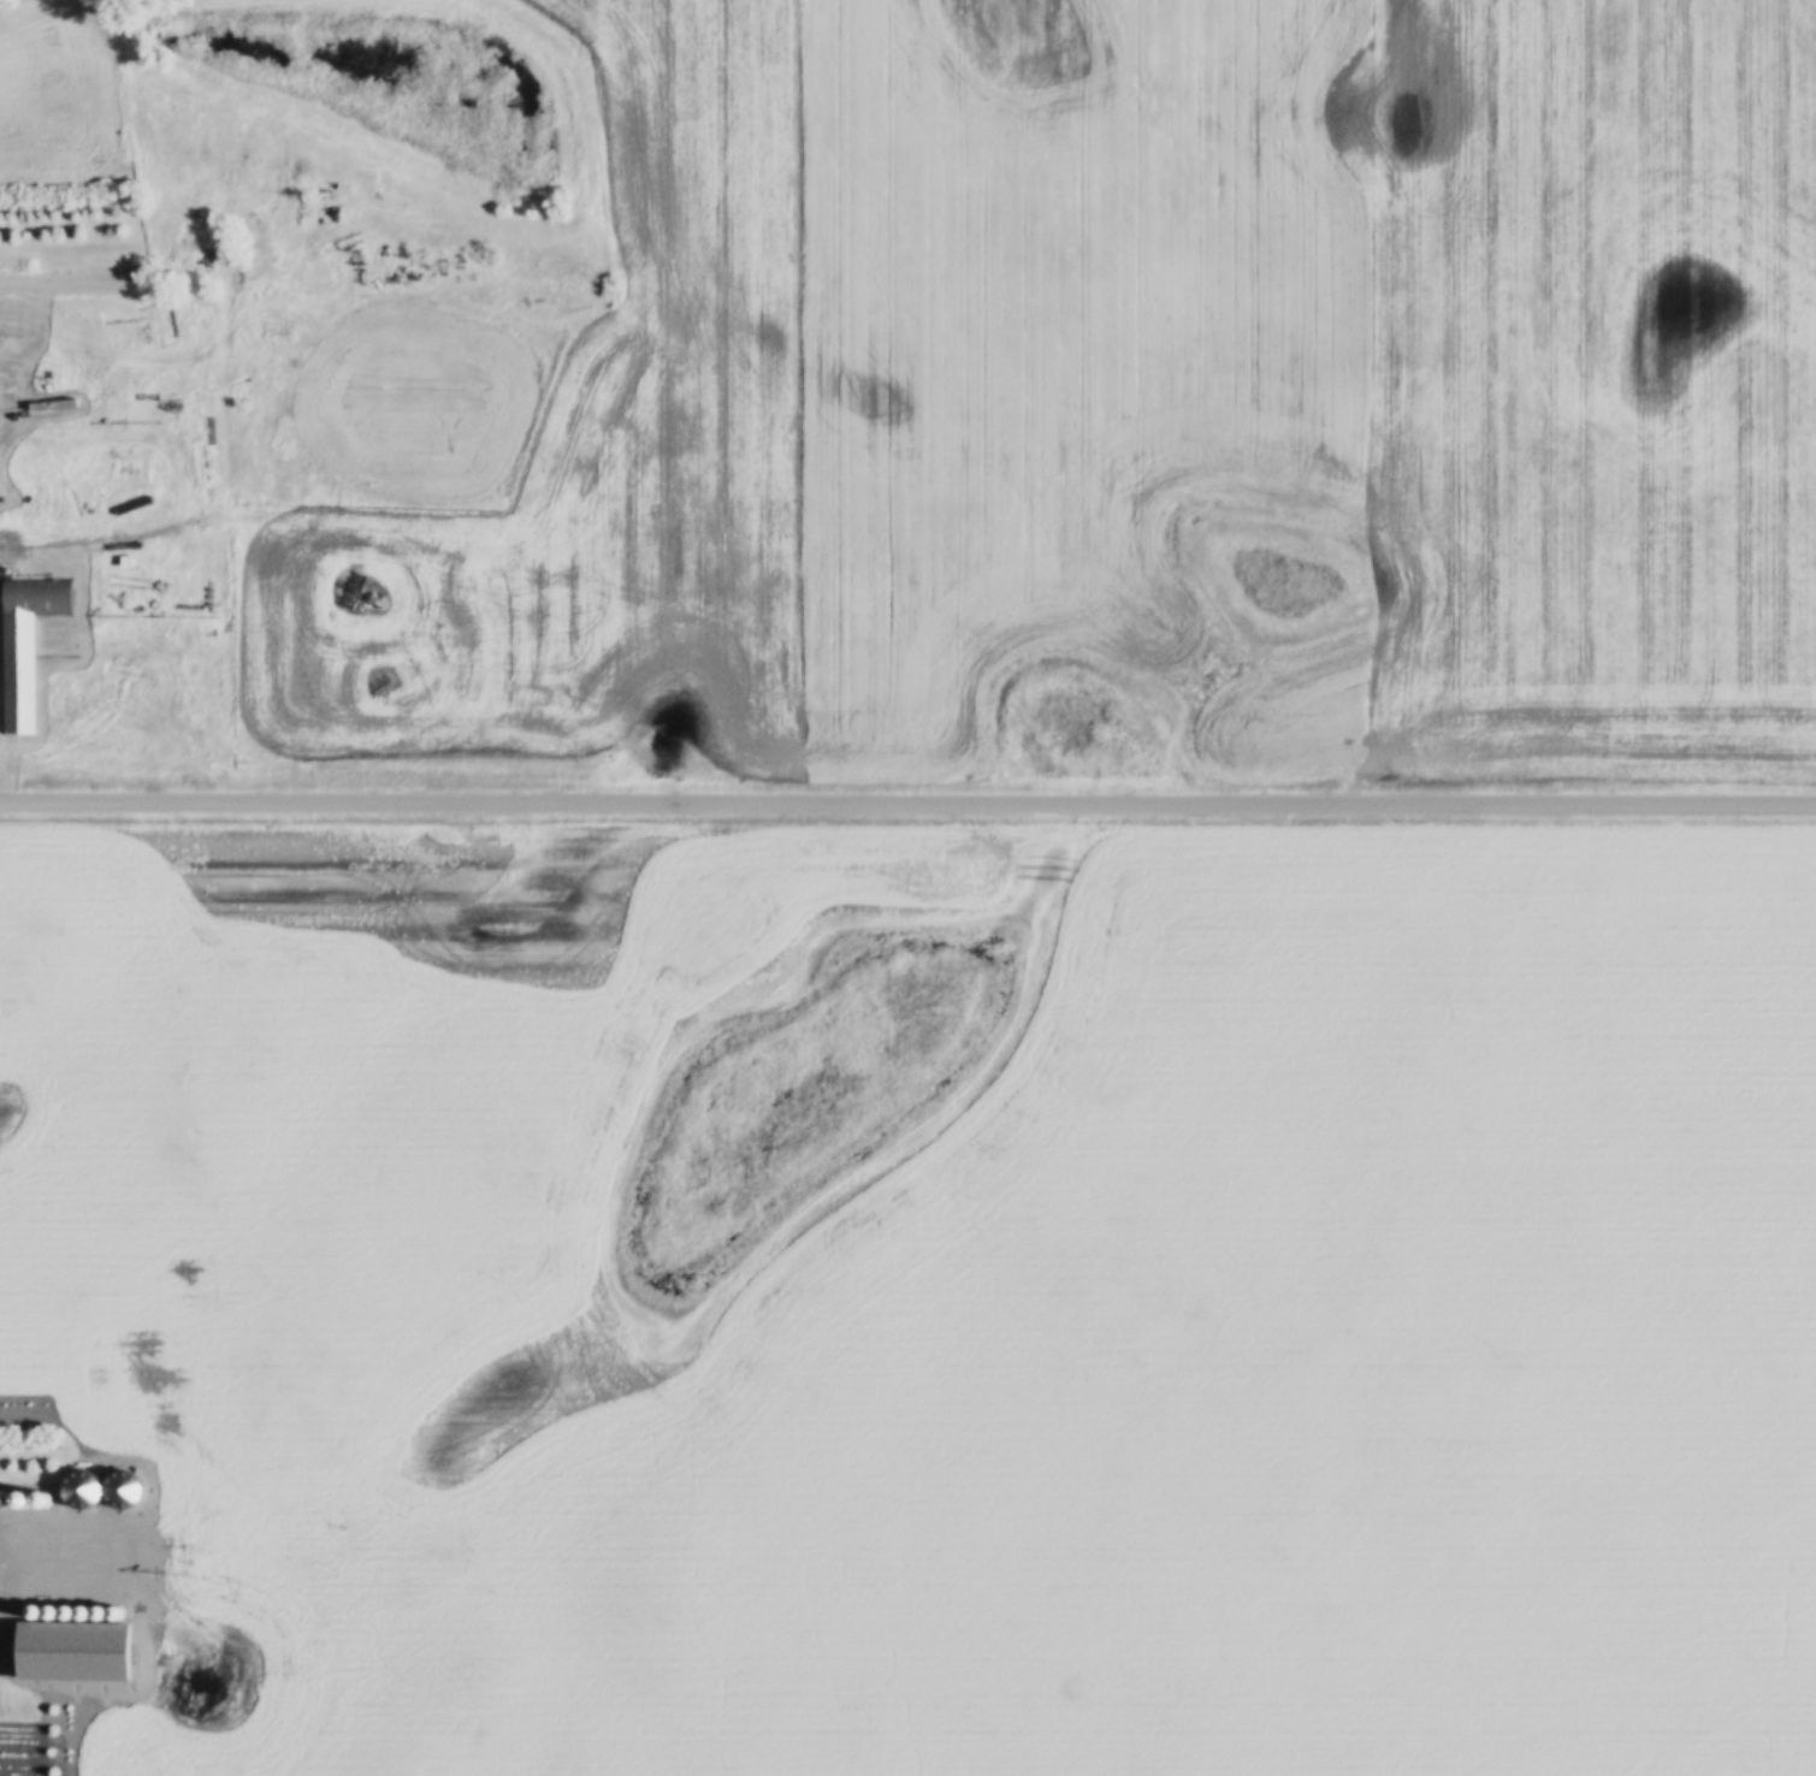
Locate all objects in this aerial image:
building: (26, 643)
road: (907, 797)

